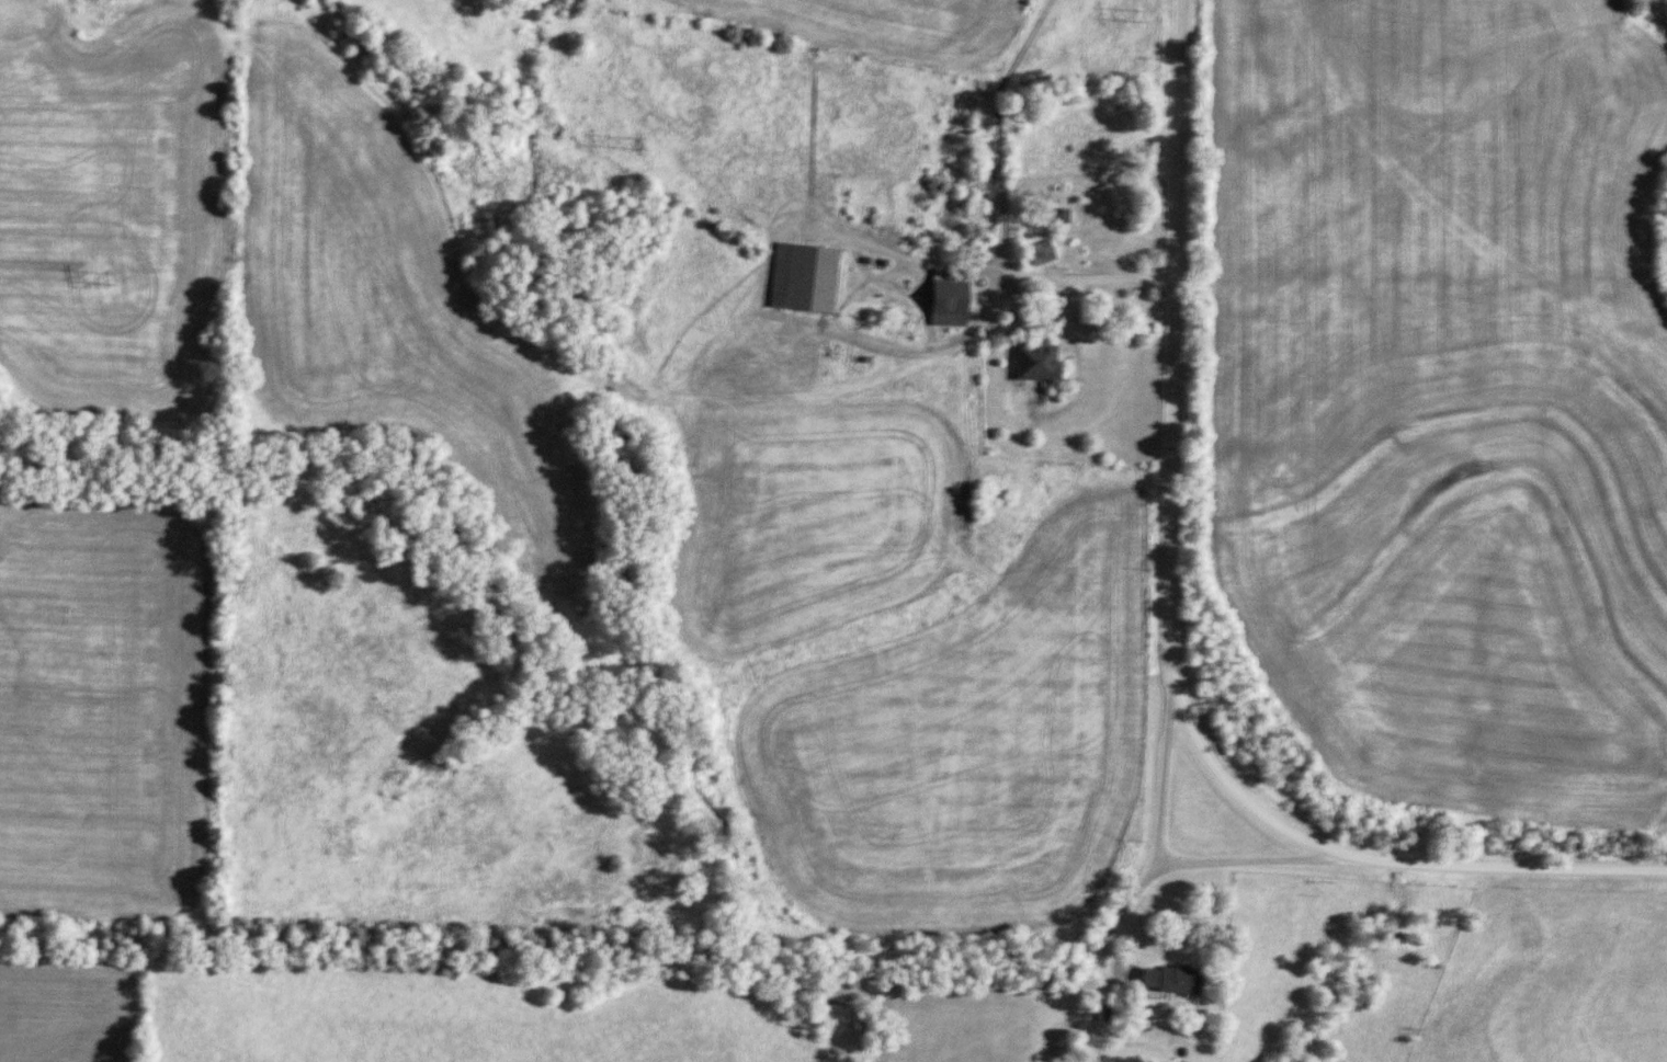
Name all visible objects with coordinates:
power tower: (1138, 16)
road: (995, 129)
power tower: (637, 142)
building: (806, 277)
power tower: (105, 278)
building: (952, 297)
road: (819, 335)
building: (1039, 362)
road: (1166, 631)
road: (1163, 774)
road: (1248, 865)
road: (1115, 929)
building: (1175, 979)

